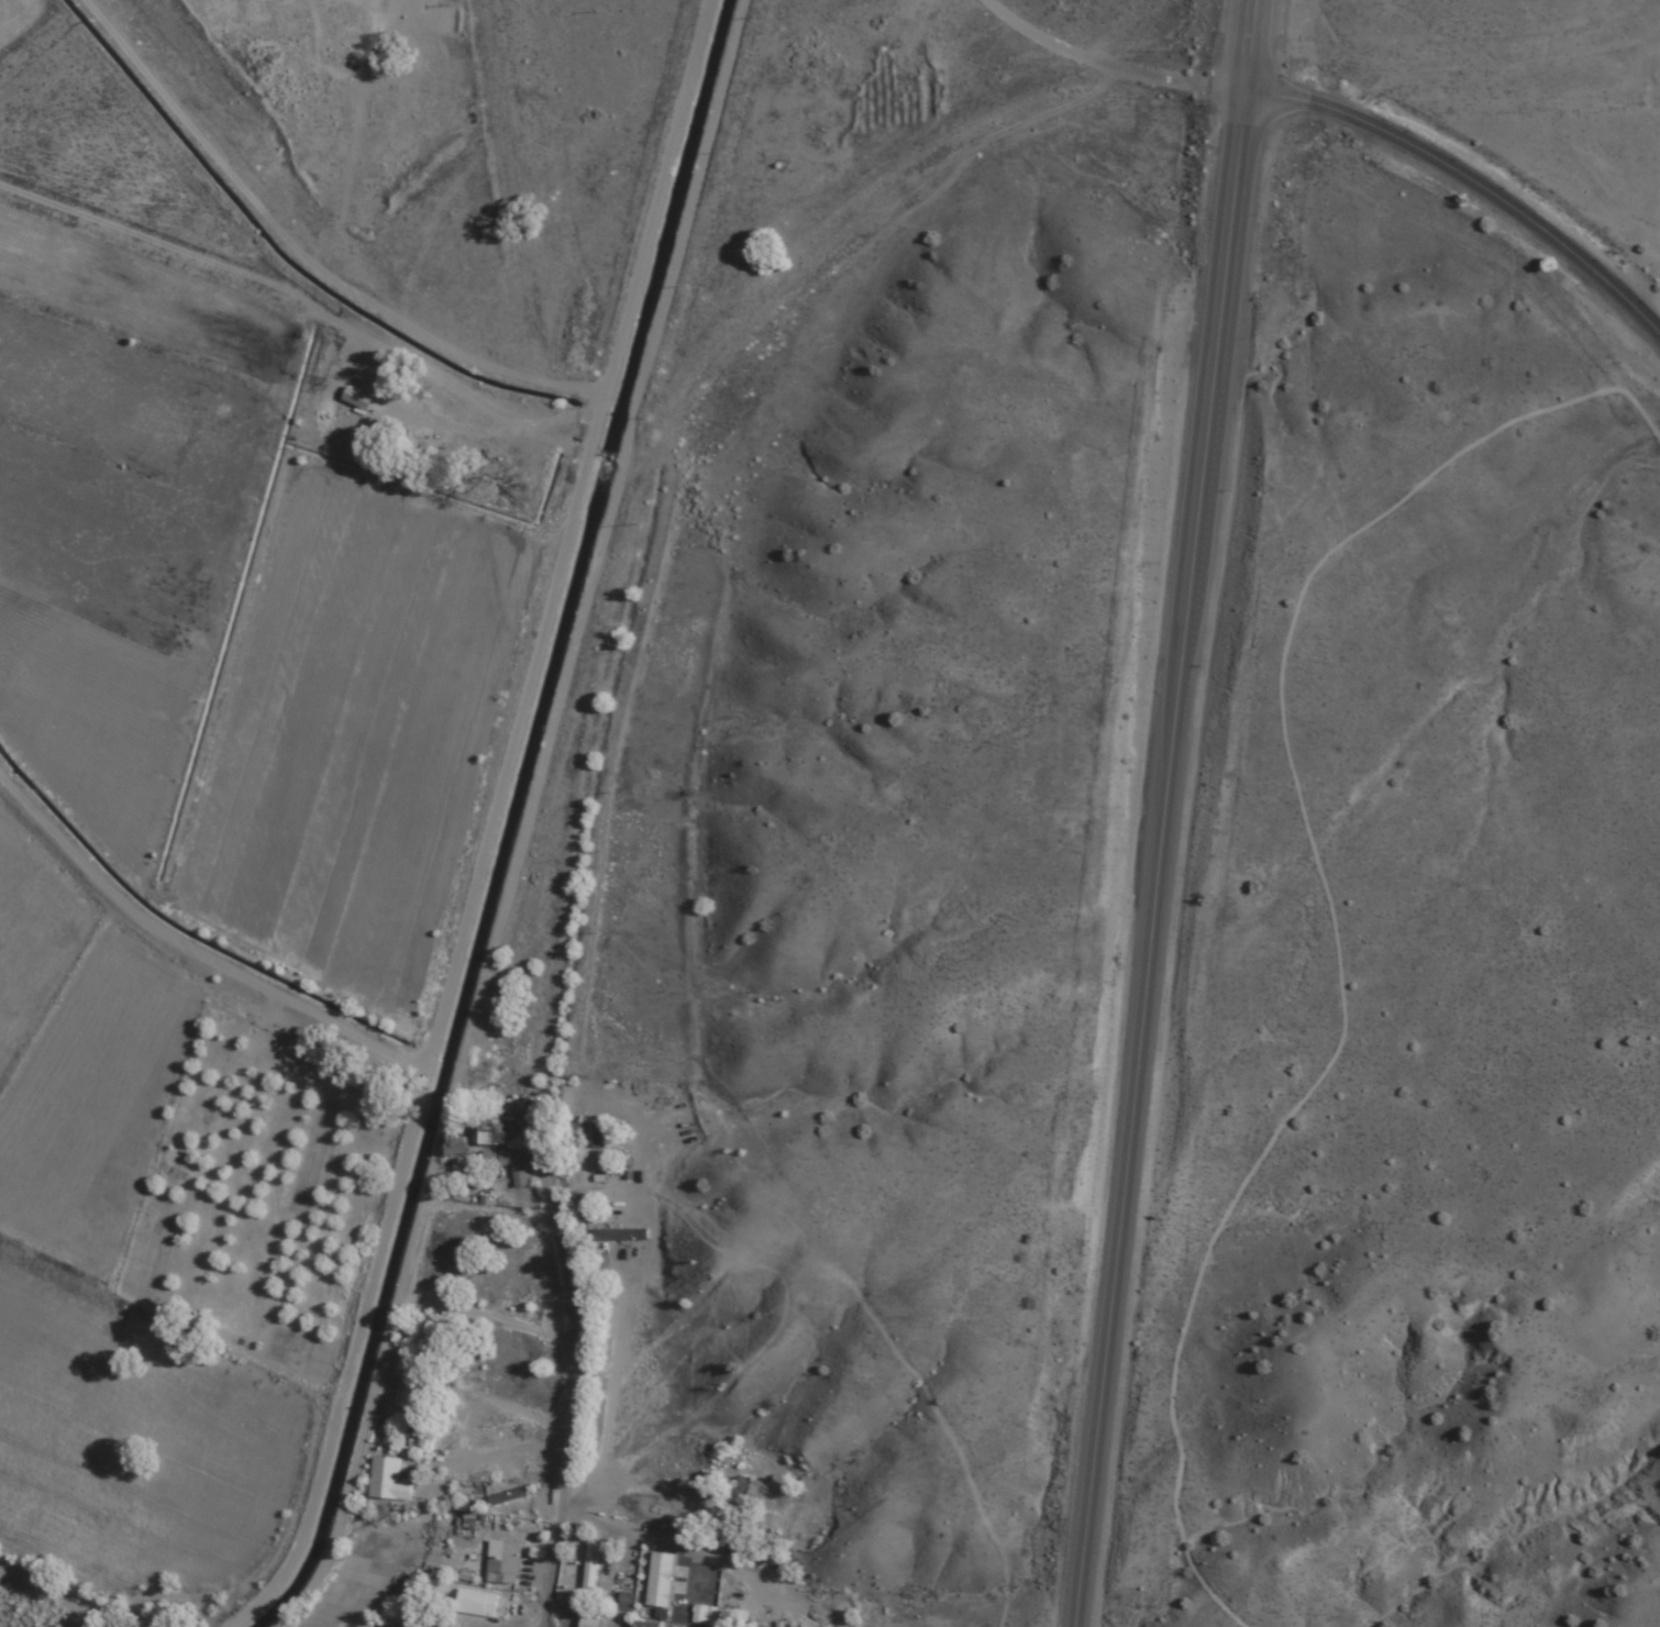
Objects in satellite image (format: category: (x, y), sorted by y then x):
building: (441, 0)
road: (1472, 180)
road: (608, 673)
road: (1165, 812)
building: (493, 1132)
building: (591, 1136)
building: (516, 1167)
building: (620, 1235)
building: (407, 1385)
building: (387, 1481)
building: (749, 1491)
building: (507, 1497)
road: (100, 1532)
road: (460, 1548)
building: (503, 1562)
building: (590, 1568)
building: (657, 1581)
building: (475, 1604)
building: (423, 1622)
building: (588, 1622)
building: (642, 1625)
building: (385, 1626)

